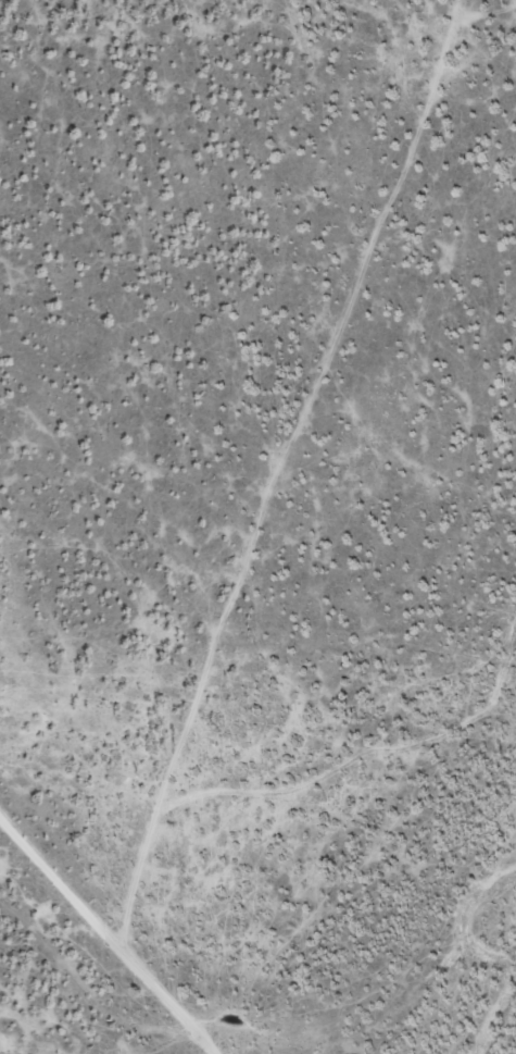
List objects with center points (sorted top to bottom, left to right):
road: (256, 672)
road: (83, 962)

